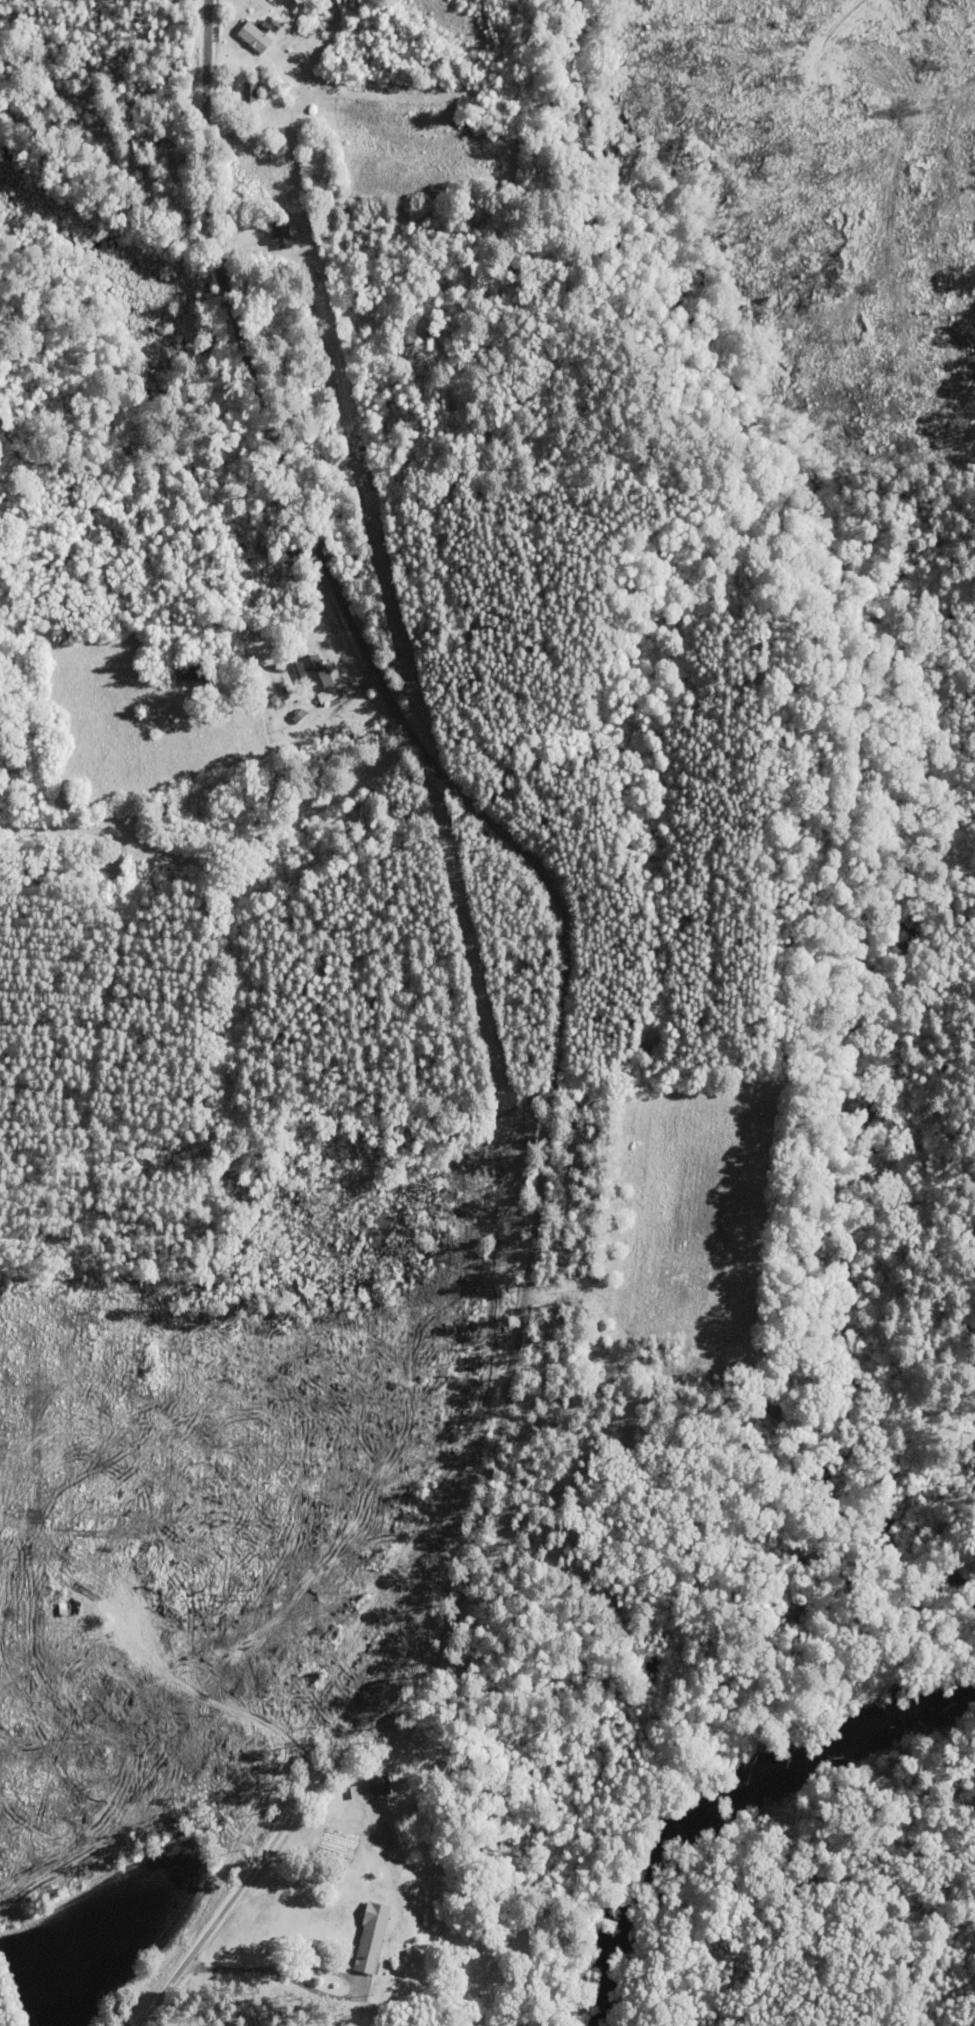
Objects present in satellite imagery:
building: (256, 37)
building: (319, 672)
building: (361, 814)
road: (550, 1022)
building: (381, 1785)
building: (357, 1792)
river: (721, 1809)
building: (373, 1938)
road: (235, 1946)

